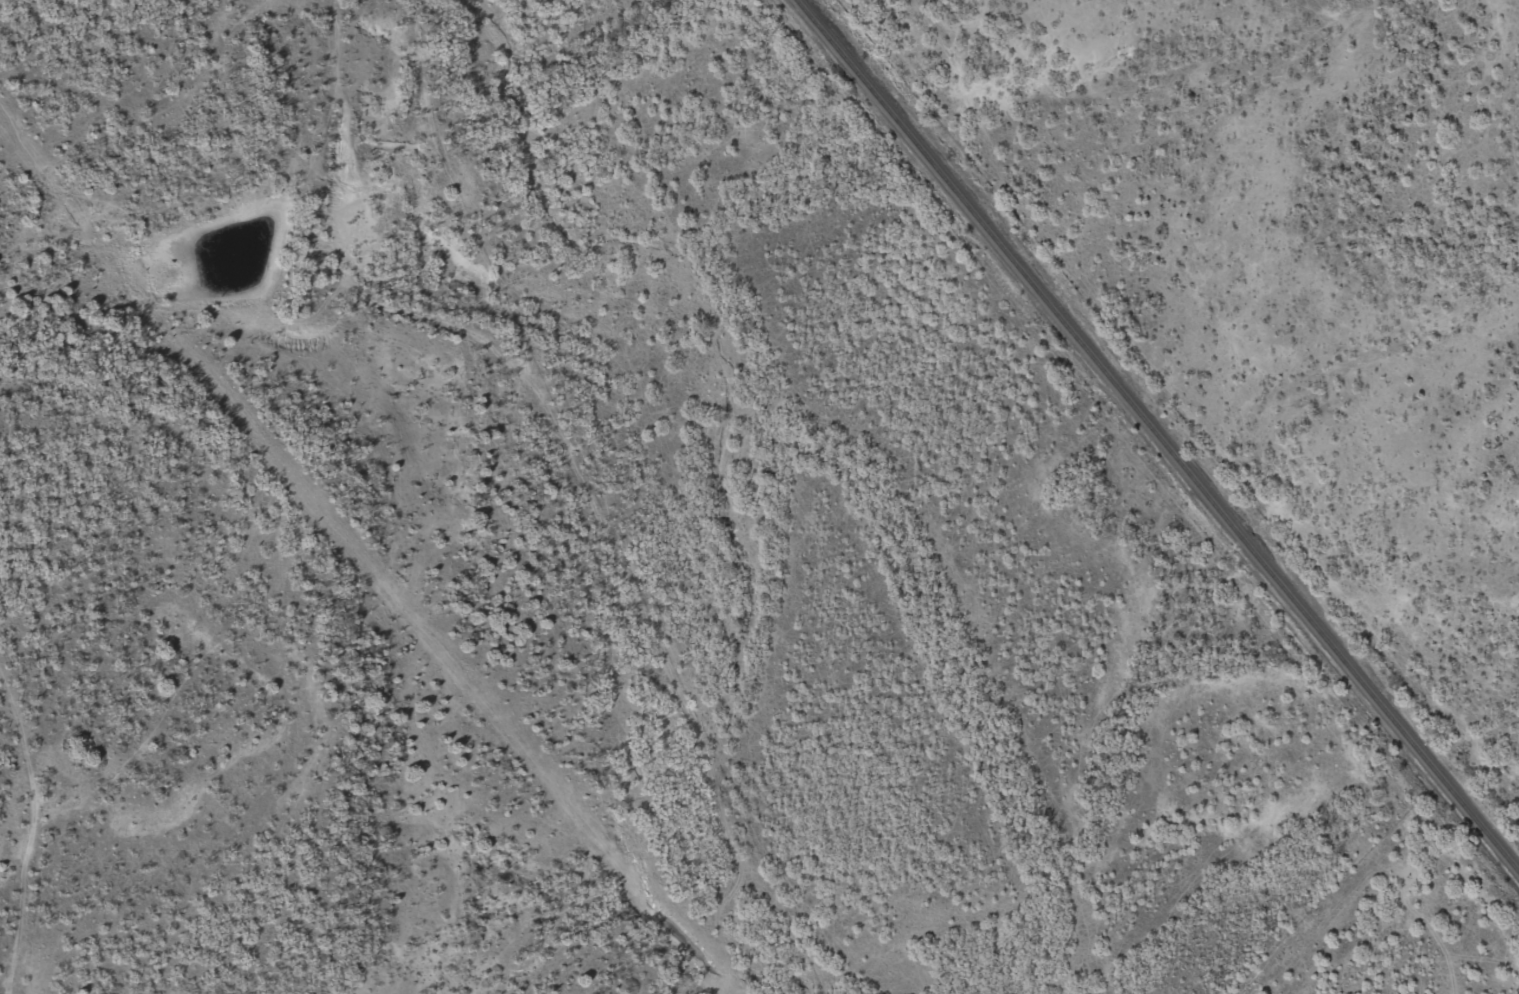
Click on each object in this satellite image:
road: (162, 127)
railway: (1156, 436)
road: (228, 733)
road: (20, 734)
road: (38, 812)

